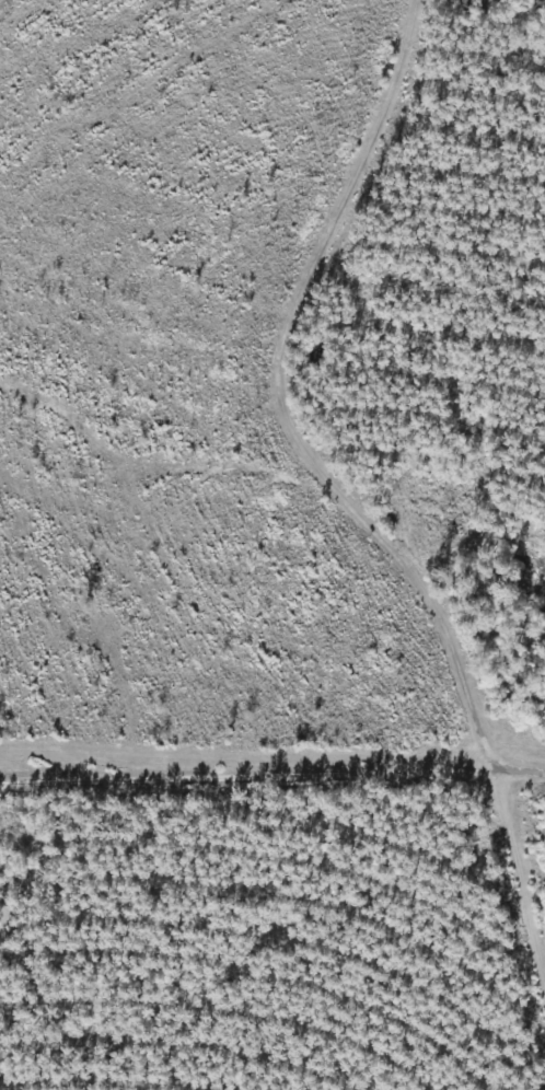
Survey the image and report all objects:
road: (372, 475)
road: (271, 758)

